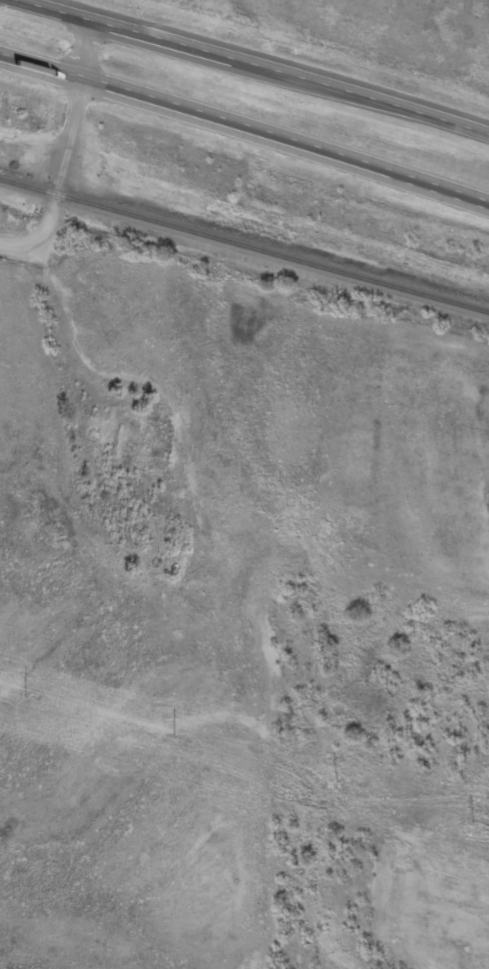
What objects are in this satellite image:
road: (263, 63)
road: (244, 124)
road: (66, 147)
railway: (119, 211)
railway: (364, 278)

